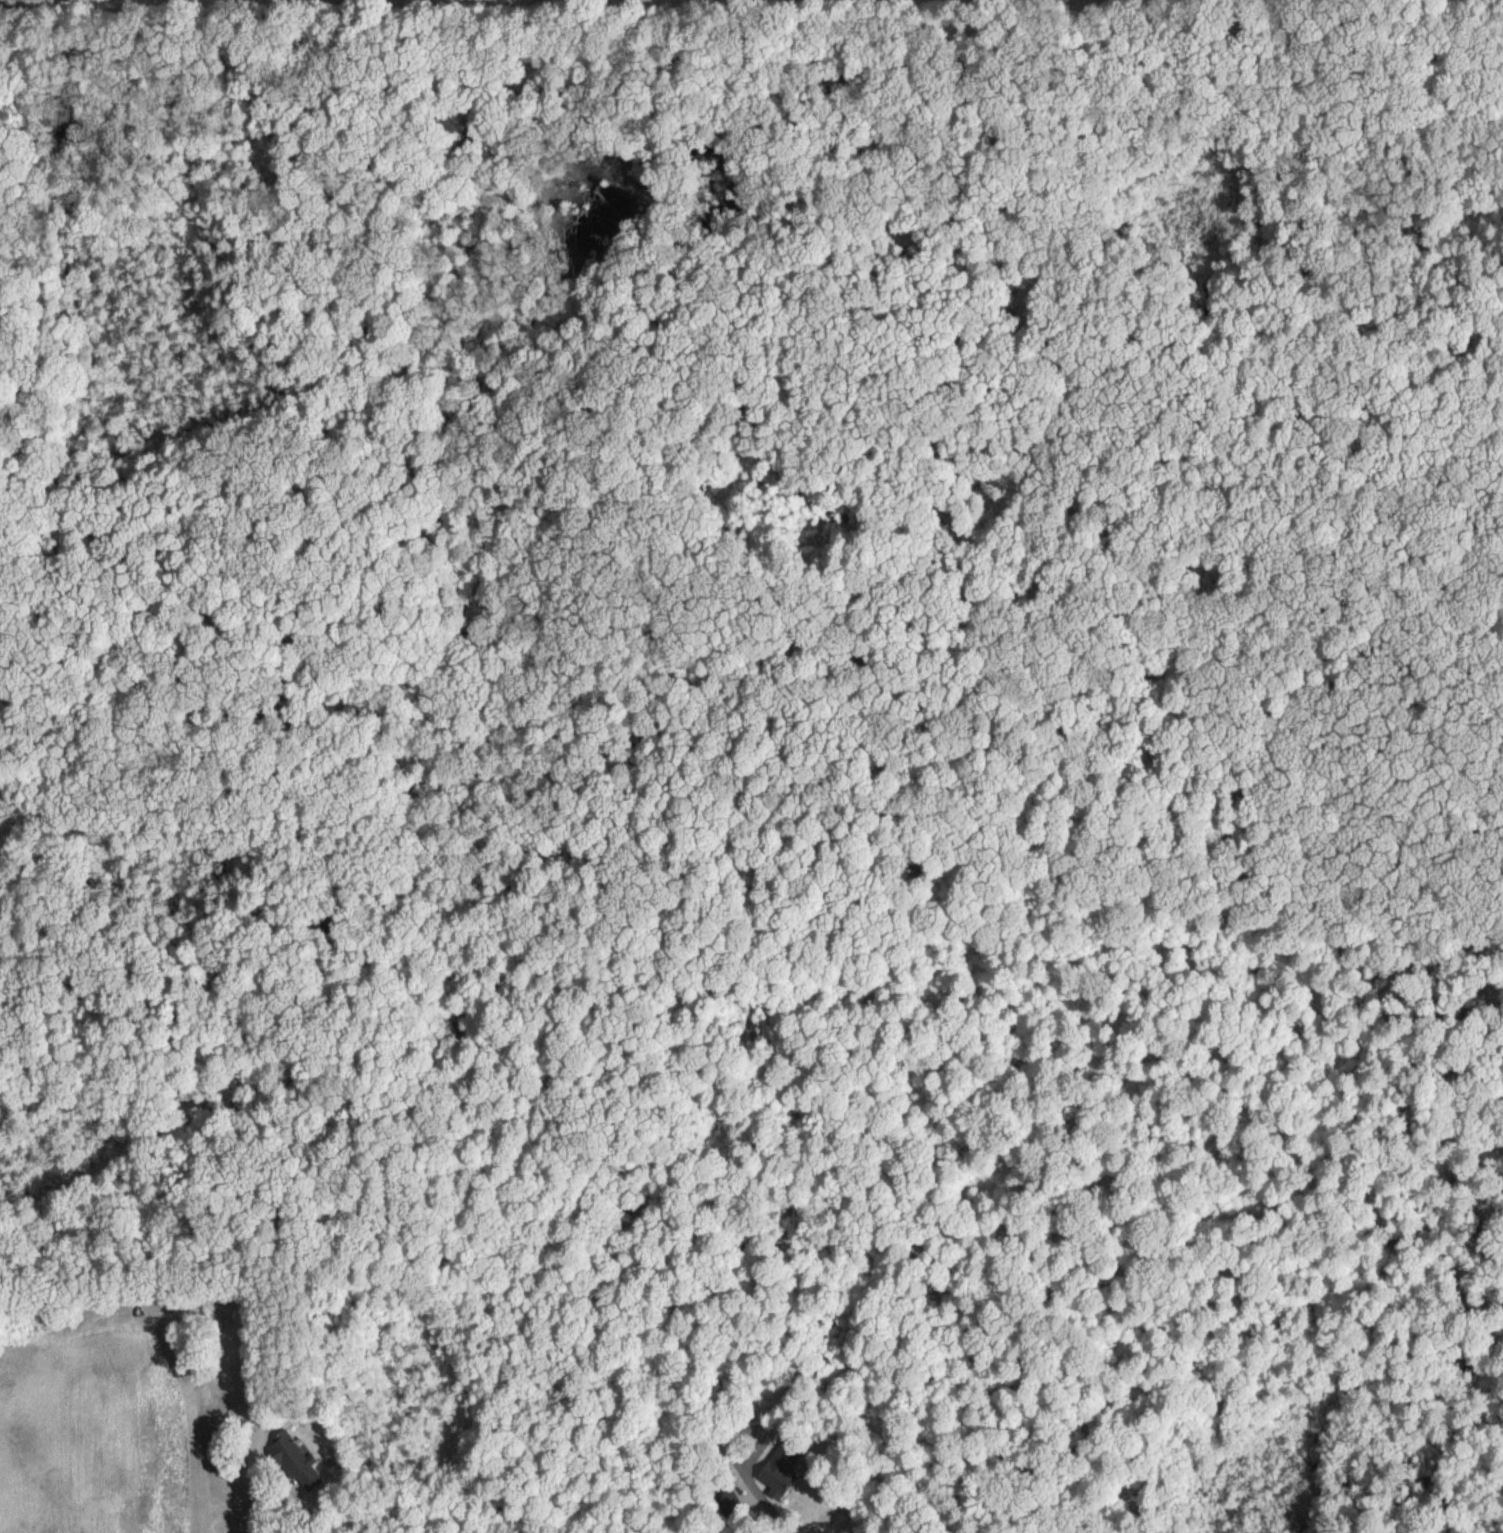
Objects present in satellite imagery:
road: (749, 1432)
building: (293, 1461)
road: (765, 1501)
road: (228, 1506)

